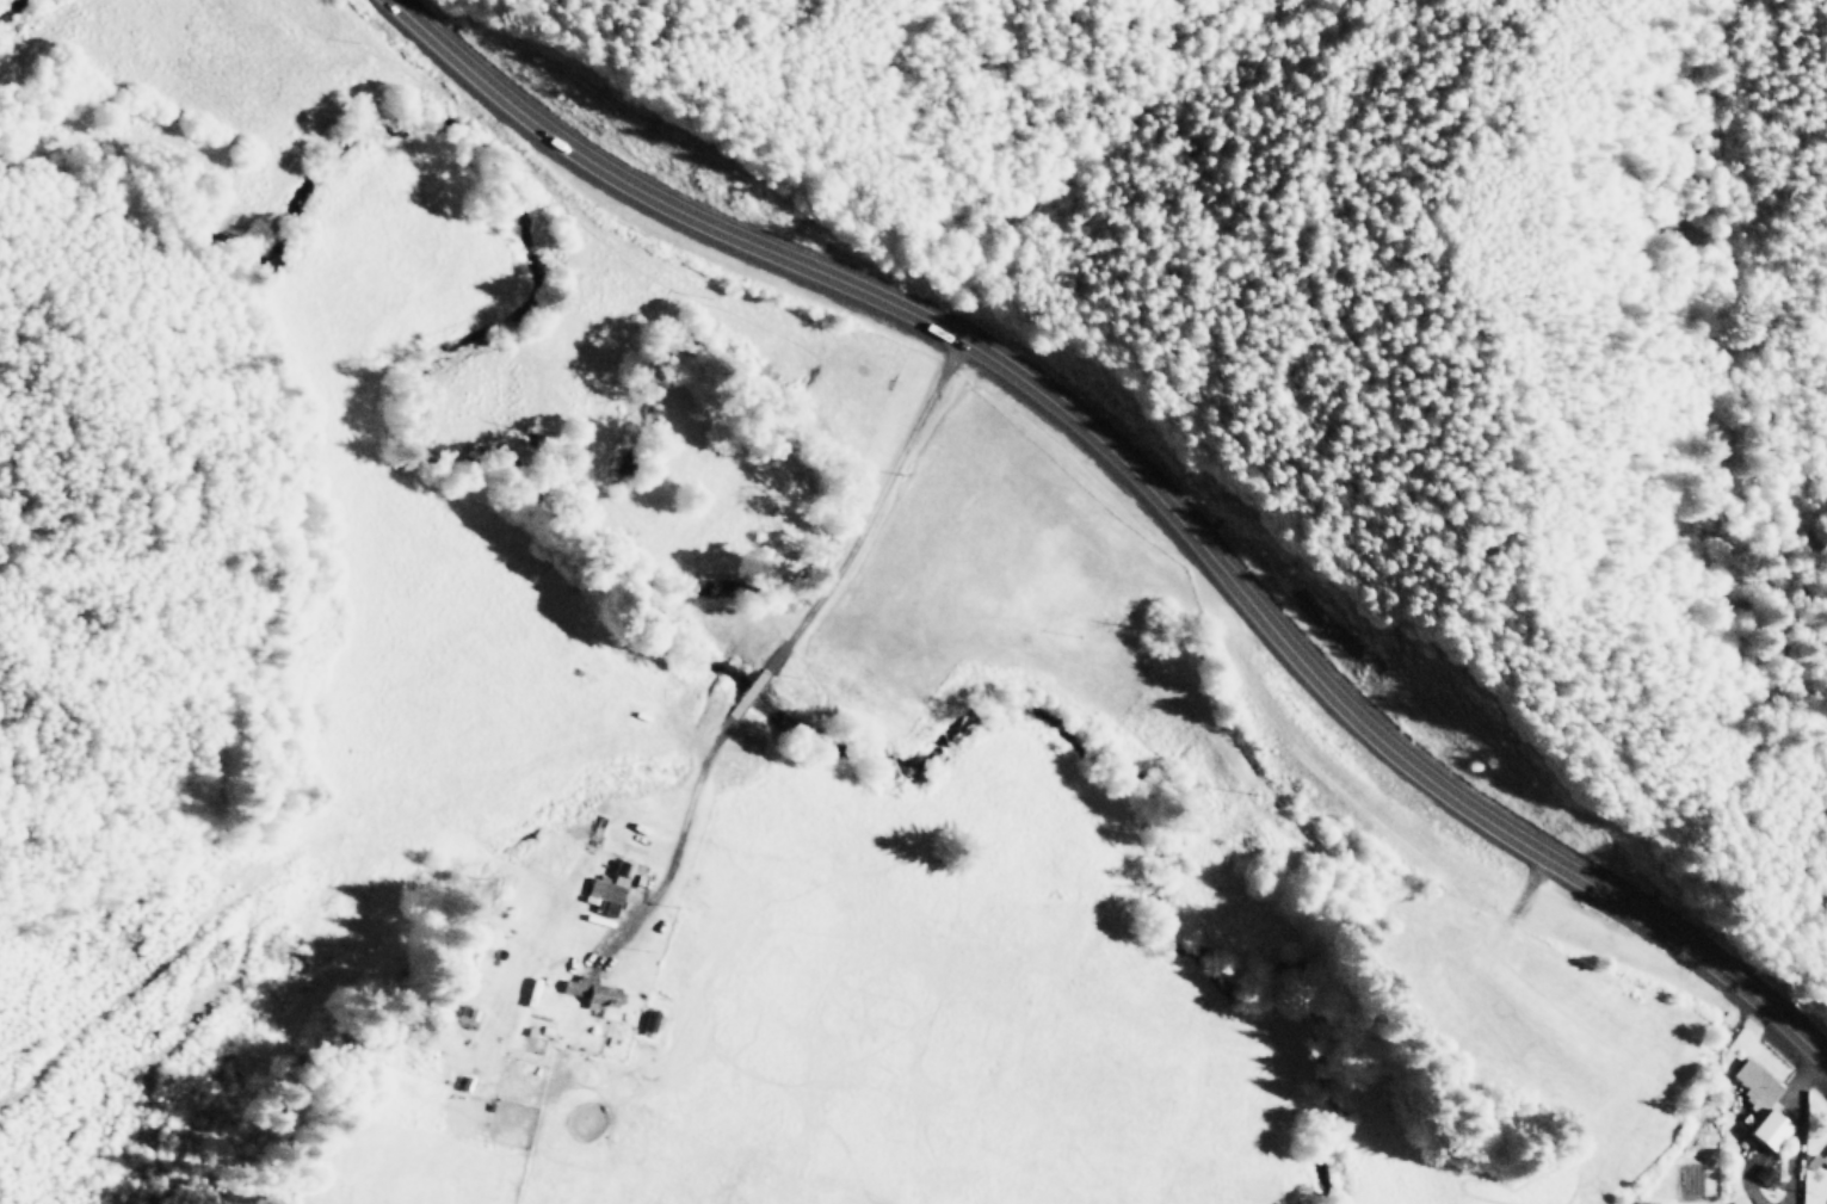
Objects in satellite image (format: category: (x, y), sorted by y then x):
road: (269, 373)
road: (1146, 483)
road: (791, 637)
building: (1752, 1080)

